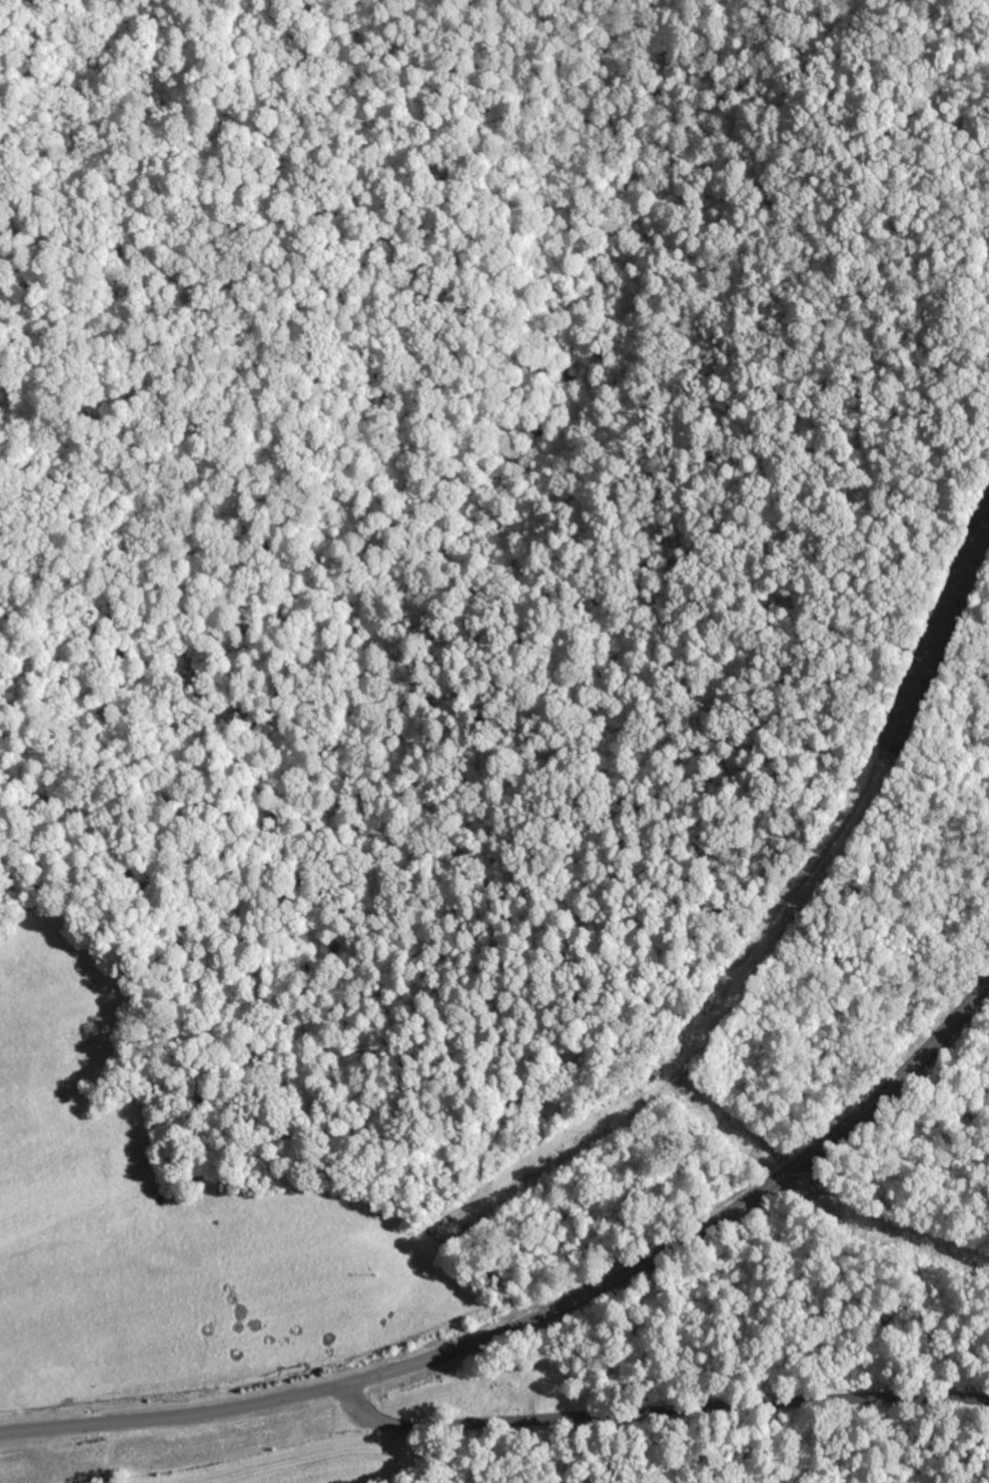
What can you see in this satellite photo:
road: (544, 1312)
road: (657, 1407)

